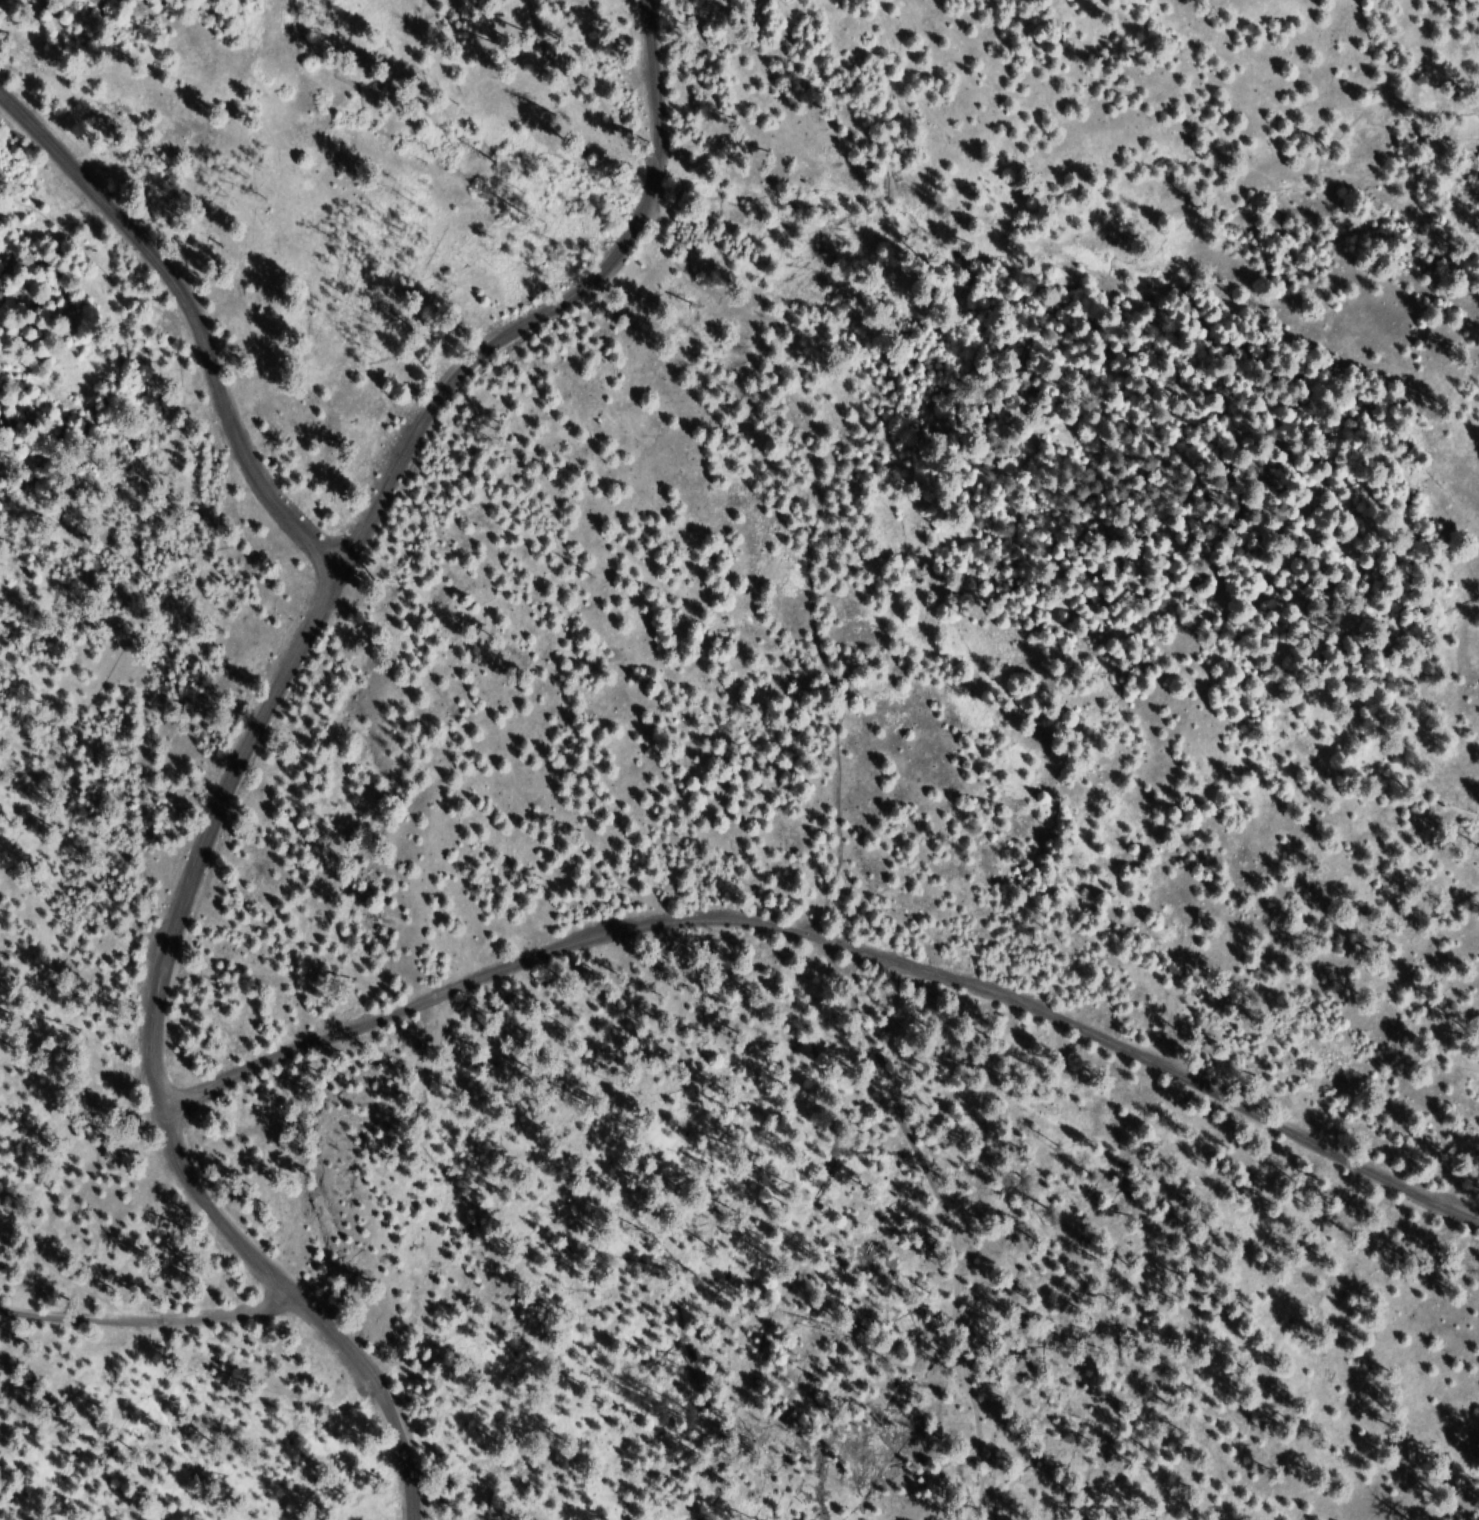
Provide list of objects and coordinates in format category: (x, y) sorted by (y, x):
road: (190, 320)
road: (249, 739)
road: (829, 947)
road: (147, 1319)

